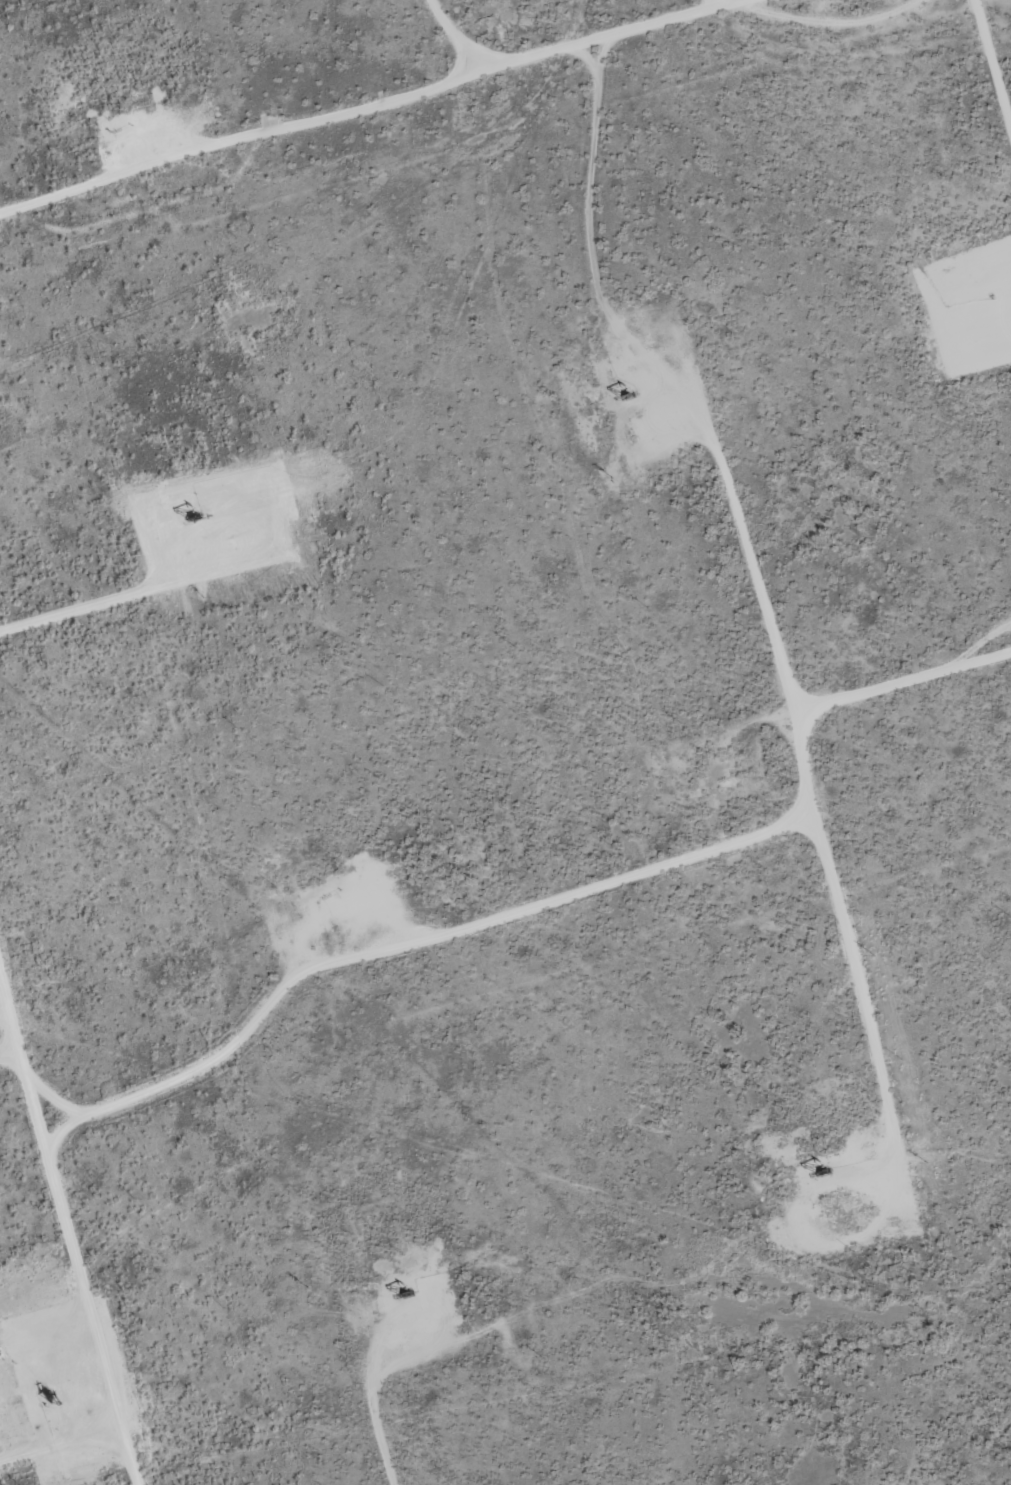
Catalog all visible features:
road: (377, 109)
road: (897, 692)
road: (9, 1051)
road: (72, 1234)

